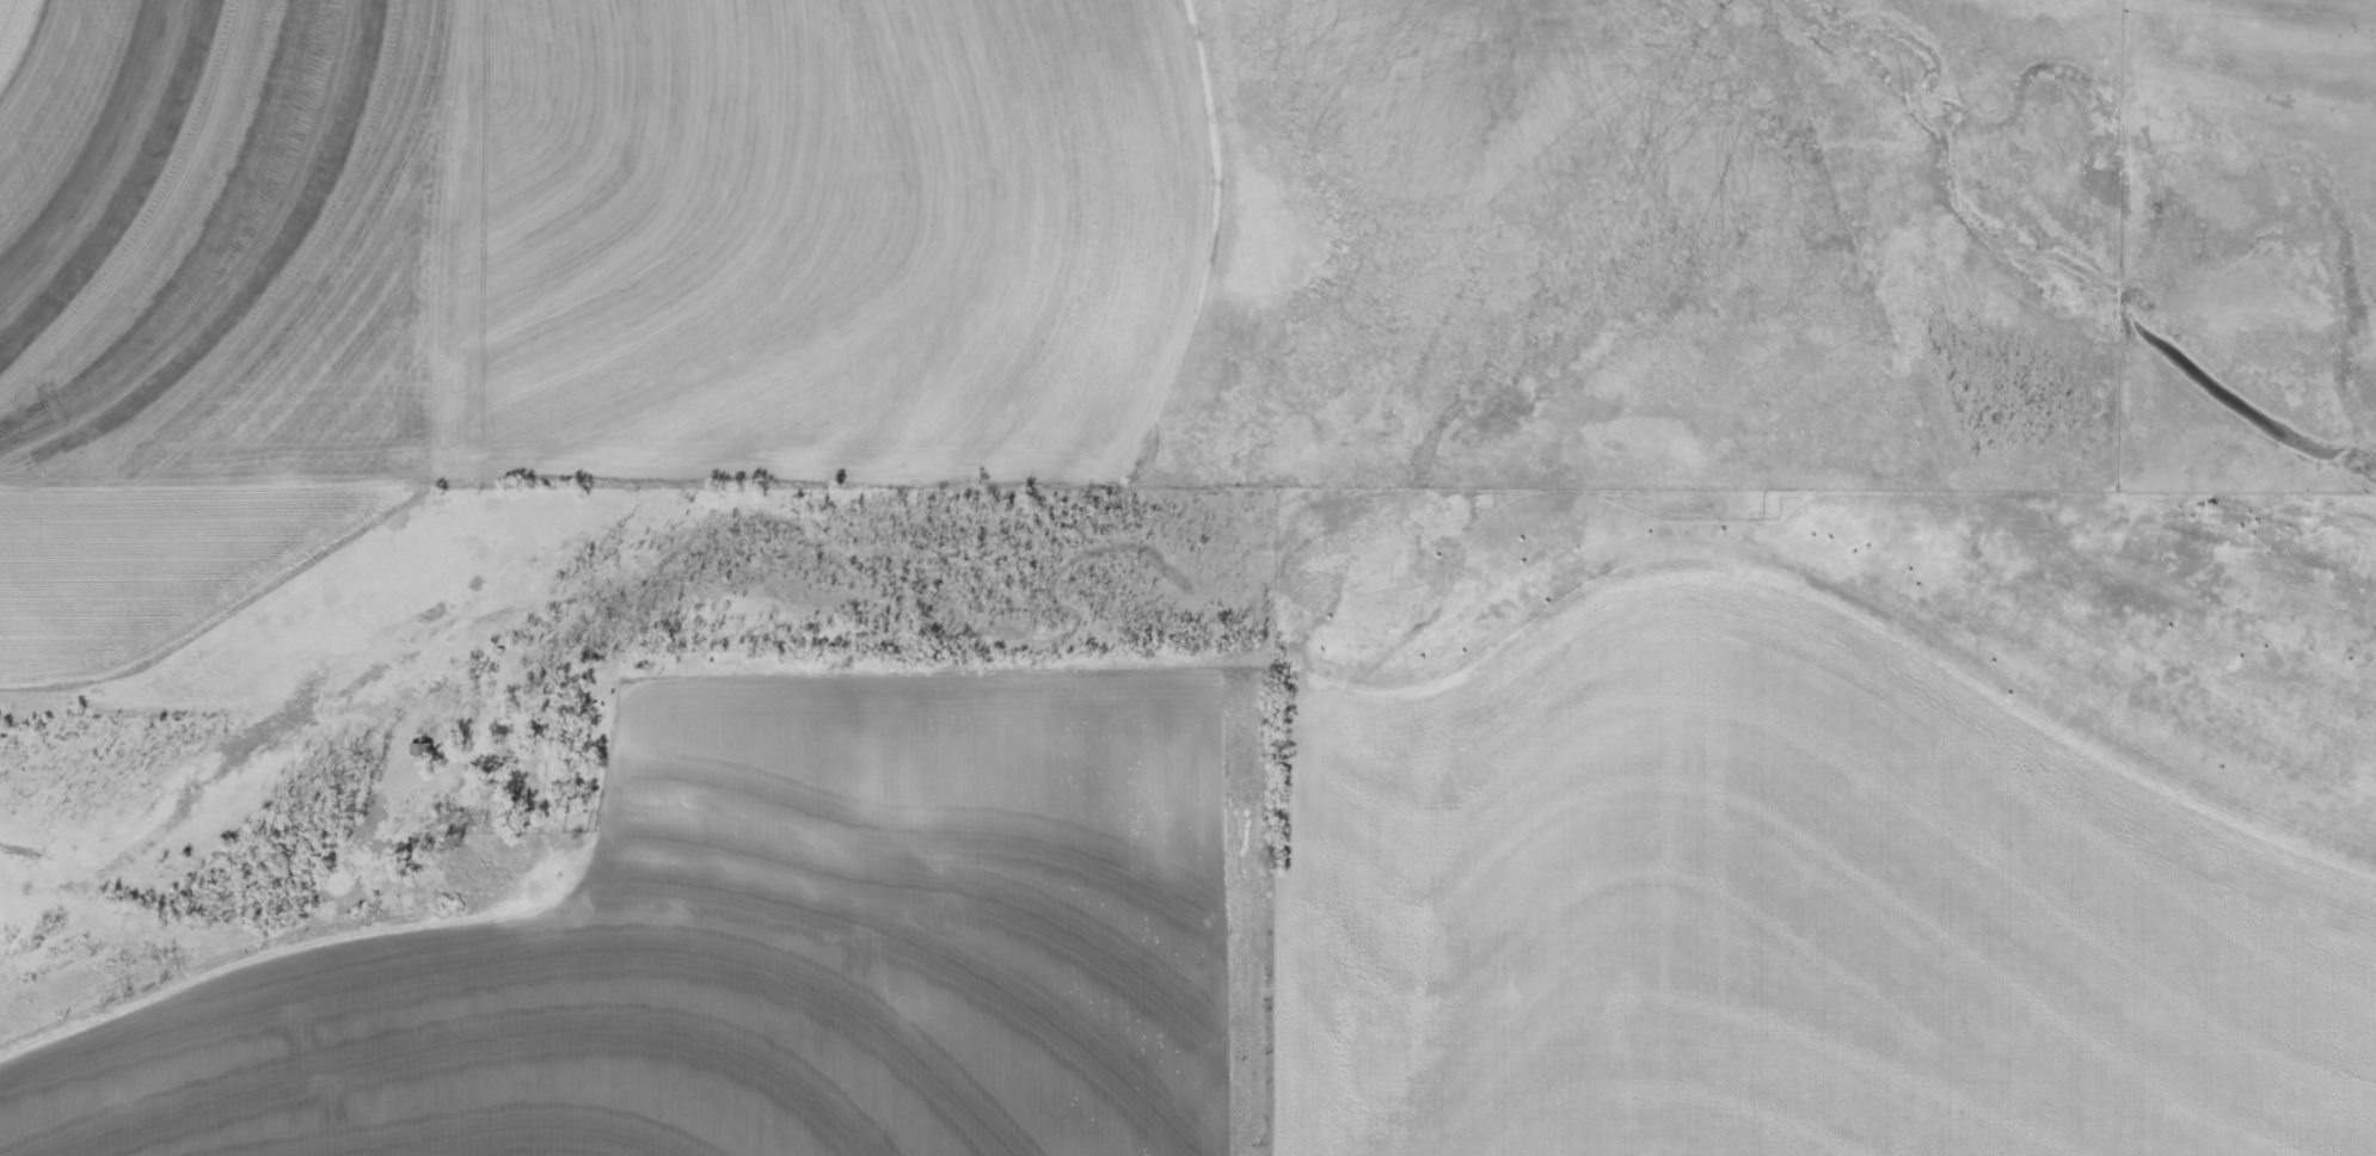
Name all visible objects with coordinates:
road: (303, 970)

